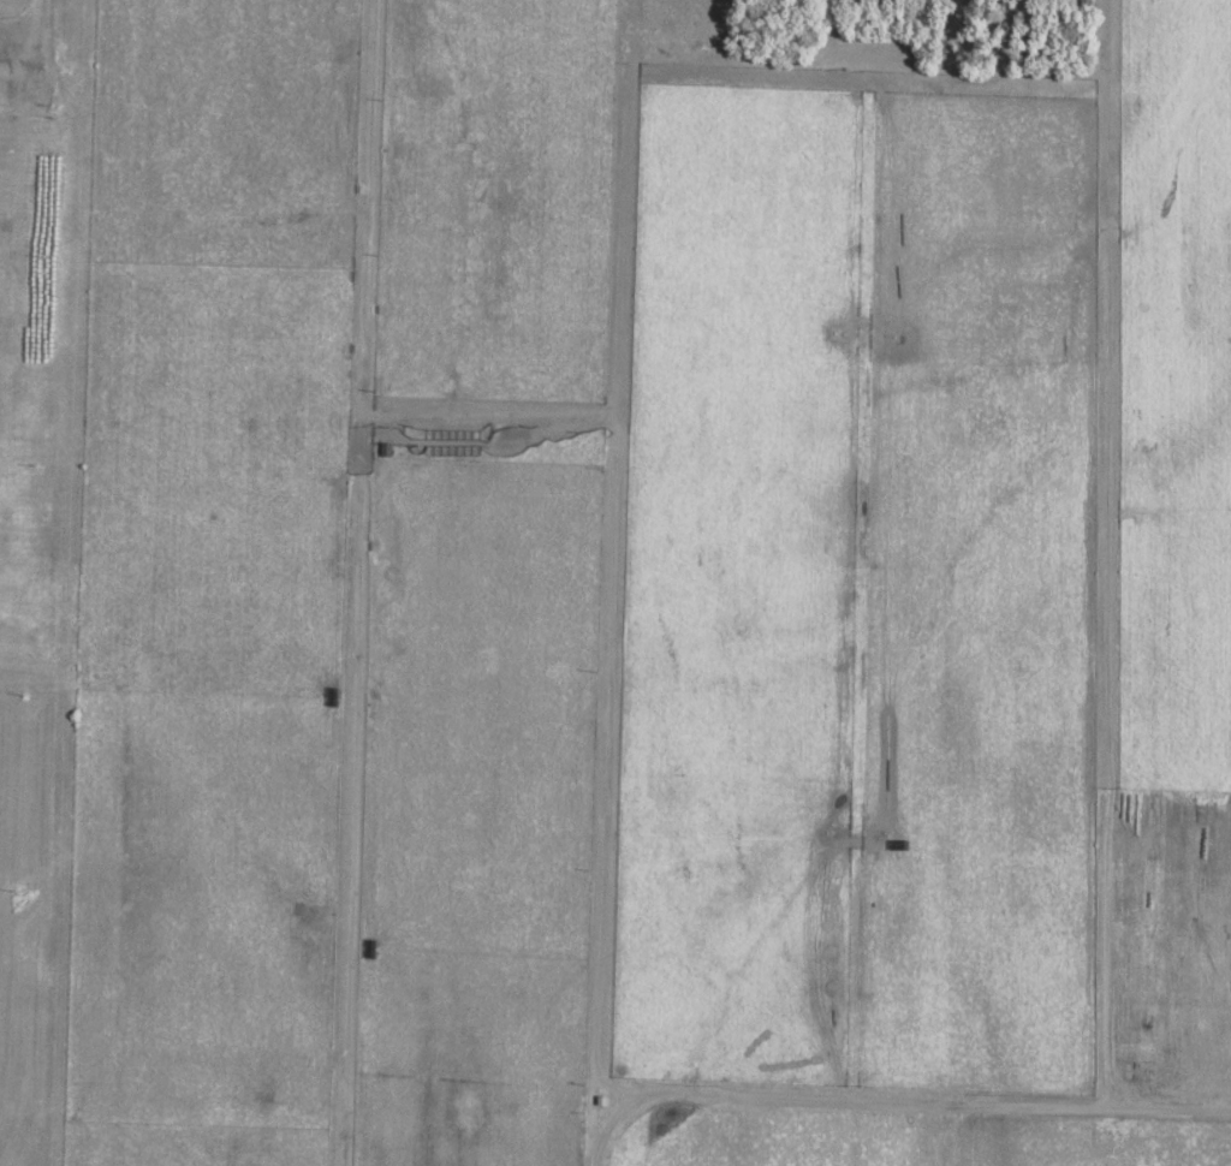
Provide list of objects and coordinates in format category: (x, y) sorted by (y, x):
road: (940, 1103)

